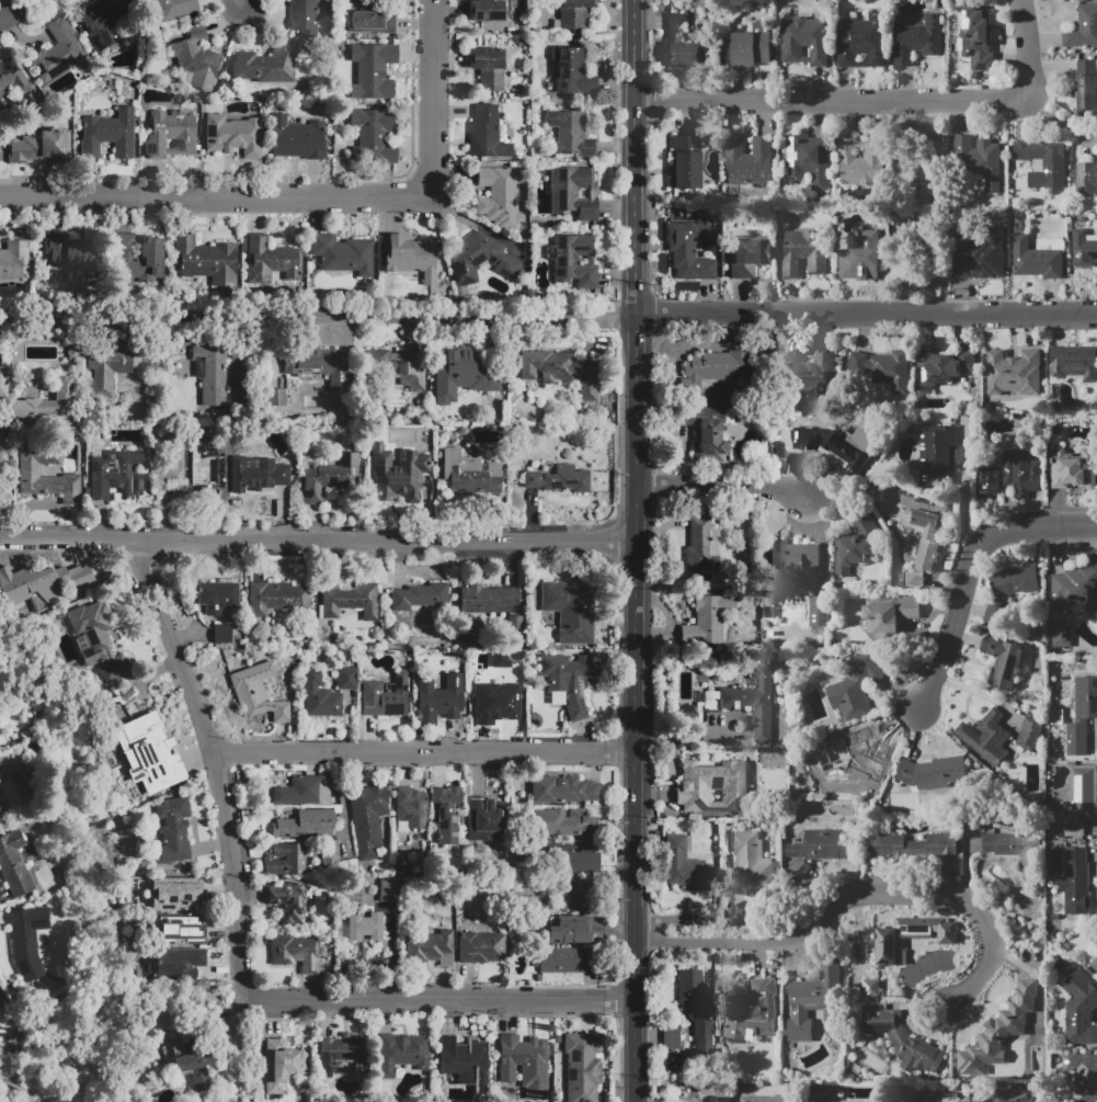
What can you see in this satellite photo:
road: (240, 3)
road: (11, 9)
building: (175, 9)
building: (485, 11)
building: (574, 13)
building: (302, 16)
building: (104, 21)
building: (373, 22)
building: (1083, 29)
building: (976, 37)
building: (917, 39)
building: (805, 41)
building: (861, 41)
building: (683, 43)
building: (752, 46)
building: (57, 50)
building: (196, 57)
building: (267, 63)
building: (488, 67)
building: (372, 70)
building: (14, 76)
building: (570, 77)
building: (1087, 86)
road: (431, 98)
road: (884, 102)
building: (487, 133)
building: (170, 134)
building: (571, 134)
building: (110, 135)
building: (233, 136)
building: (373, 136)
building: (298, 138)
building: (41, 146)
building: (816, 159)
building: (979, 159)
building: (685, 161)
building: (750, 161)
building: (861, 161)
building: (1044, 162)
building: (1086, 178)
building: (574, 192)
road: (214, 195)
building: (499, 195)
building: (1083, 249)
building: (689, 252)
building: (71, 253)
building: (342, 253)
building: (803, 253)
building: (979, 254)
building: (141, 255)
building: (410, 255)
building: (749, 255)
building: (861, 257)
building: (273, 258)
building: (461, 258)
building: (1037, 258)
building: (14, 260)
building: (205, 260)
building: (575, 263)
road: (549, 321)
building: (1074, 364)
building: (320, 366)
building: (397, 366)
building: (716, 366)
building: (106, 370)
building: (563, 370)
building: (936, 371)
building: (882, 372)
building: (212, 373)
building: (812, 373)
building: (1014, 373)
building: (464, 374)
building: (275, 396)
building: (46, 405)
building: (2, 418)
building: (708, 442)
building: (829, 446)
building: (937, 454)
building: (1074, 469)
building: (1013, 472)
building: (192, 473)
building: (115, 474)
building: (396, 474)
building: (471, 474)
building: (47, 477)
building: (262, 479)
building: (331, 479)
building: (558, 479)
road: (725, 482)
building: (917, 523)
road: (319, 539)
building: (698, 545)
road: (638, 550)
building: (852, 554)
building: (793, 563)
road: (972, 568)
building: (913, 580)
building: (1075, 588)
building: (1002, 593)
building: (218, 597)
building: (420, 597)
building: (276, 598)
building: (21, 599)
building: (489, 600)
building: (351, 601)
building: (571, 609)
building: (819, 611)
building: (887, 616)
building: (707, 620)
building: (514, 625)
building: (222, 633)
building: (1060, 633)
building: (1065, 643)
building: (100, 647)
building: (504, 658)
building: (1003, 662)
building: (346, 679)
building: (568, 681)
building: (855, 686)
building: (258, 692)
building: (127, 696)
building: (319, 696)
building: (385, 696)
building: (438, 697)
building: (495, 700)
building: (738, 702)
building: (1081, 717)
building: (1030, 732)
building: (987, 737)
building: (156, 742)
road: (427, 750)
building: (855, 760)
road: (221, 761)
building: (933, 772)
building: (713, 787)
building: (562, 789)
building: (299, 791)
building: (1081, 799)
building: (409, 811)
building: (446, 813)
building: (1, 816)
building: (368, 818)
building: (485, 819)
building: (307, 823)
building: (565, 823)
building: (175, 829)
building: (821, 844)
building: (913, 845)
building: (1015, 850)
building: (330, 854)
building: (286, 859)
building: (582, 862)
building: (685, 864)
building: (752, 865)
building: (15, 866)
building: (1072, 883)
building: (389, 890)
building: (574, 891)
road: (959, 894)
building: (176, 895)
building: (287, 902)
road: (724, 918)
building: (365, 928)
building: (569, 930)
building: (181, 931)
road: (731, 938)
building: (891, 943)
building: (26, 946)
building: (431, 946)
building: (481, 947)
building: (294, 951)
building: (564, 961)
building: (1094, 964)
building: (180, 966)
building: (869, 987)
road: (438, 999)
building: (813, 1000)
building: (696, 1008)
building: (1079, 1008)
building: (751, 1012)
building: (671, 1035)
building: (903, 1041)
building: (983, 1052)
building: (344, 1053)
building: (401, 1053)
building: (461, 1059)
building: (193, 1061)
building: (284, 1064)
building: (582, 1067)
building: (523, 1069)
building: (1082, 1075)
building: (950, 1098)
building: (999, 1098)
building: (719, 1099)
building: (772, 1099)
building: (821, 1099)

